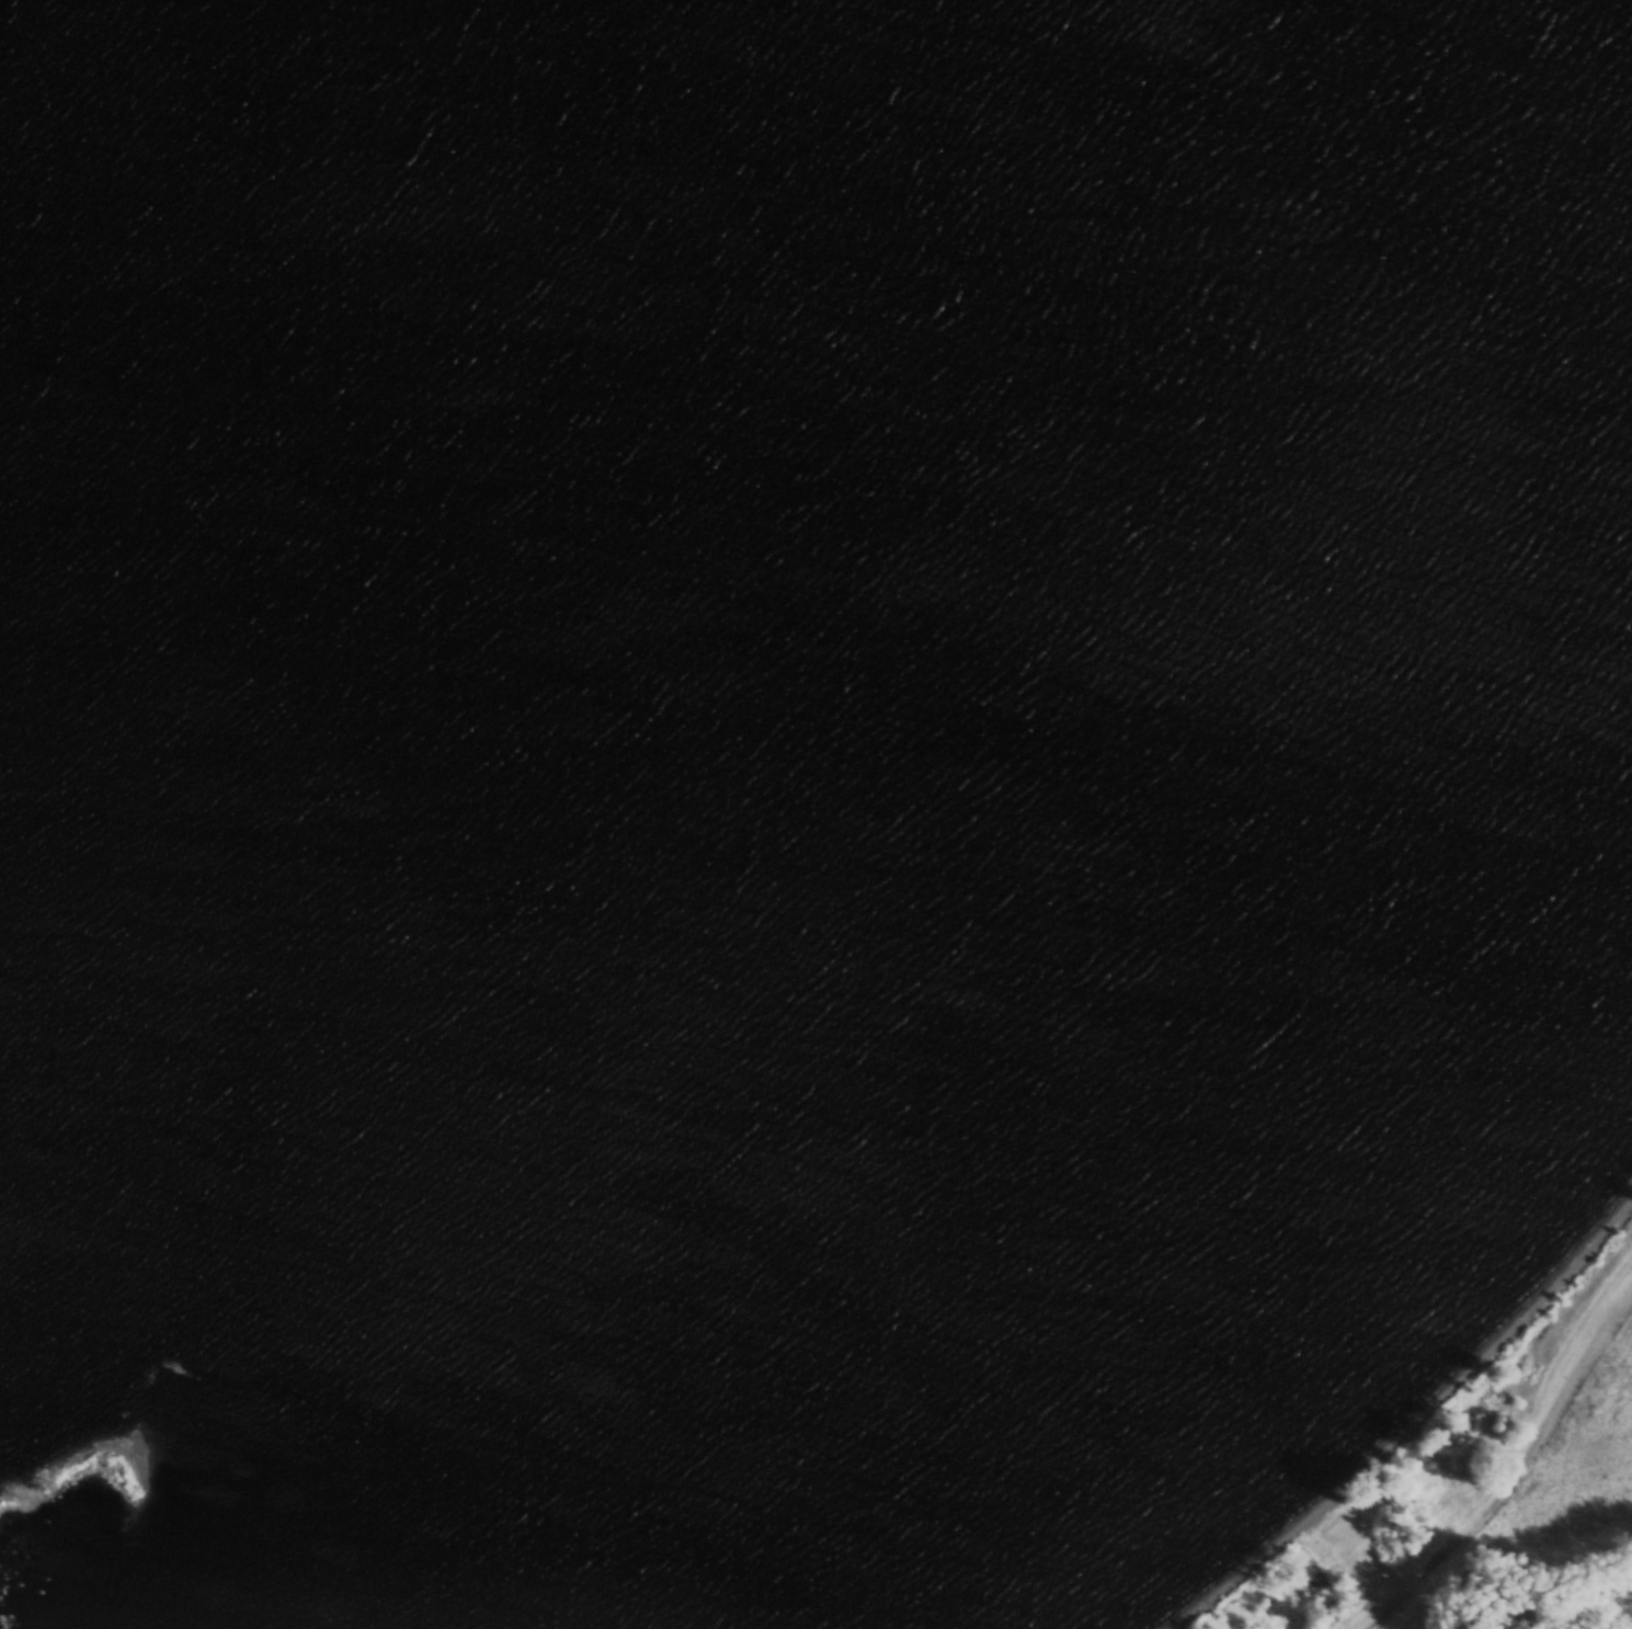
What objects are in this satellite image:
road: (1507, 1459)

